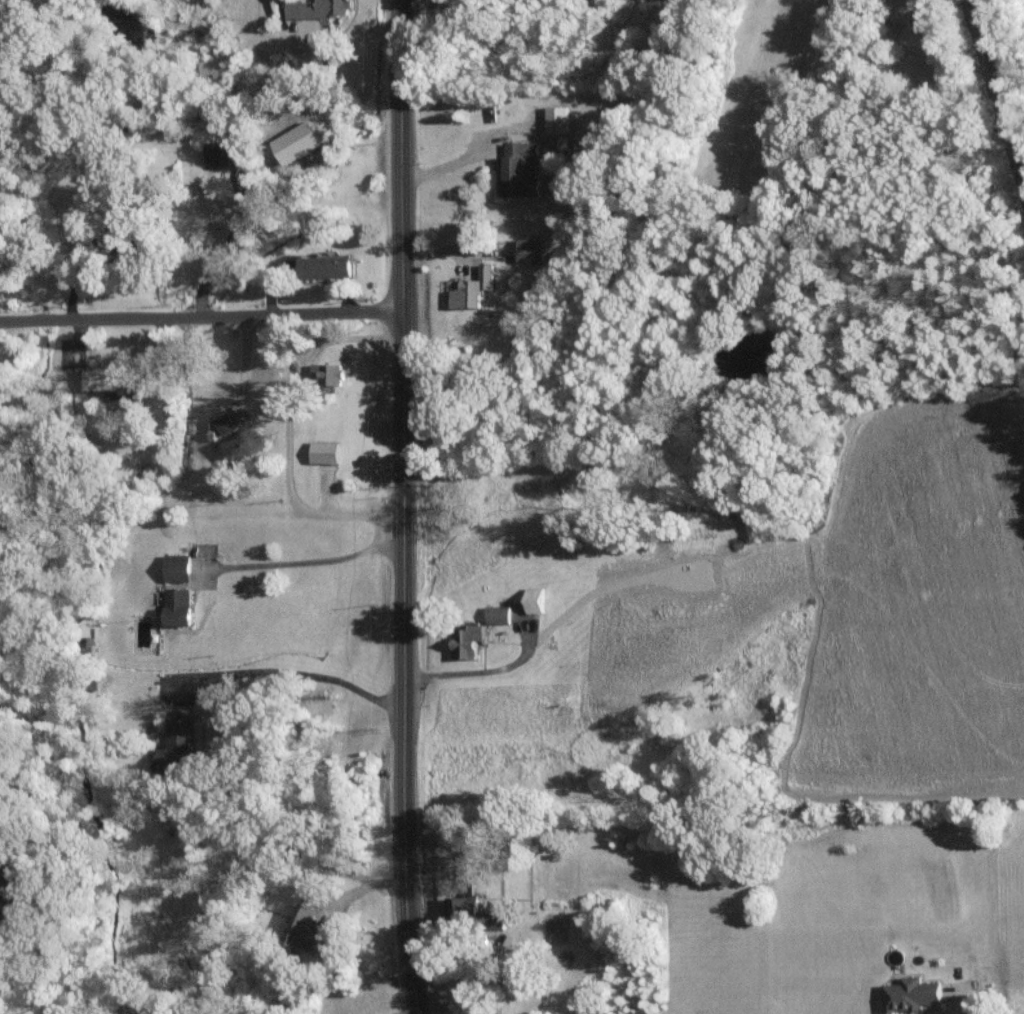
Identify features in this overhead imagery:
building: (317, 9)
railway: (998, 85)
building: (556, 120)
building: (562, 142)
building: (221, 153)
road: (457, 158)
building: (544, 167)
building: (518, 169)
building: (530, 250)
building: (323, 267)
building: (471, 289)
road: (202, 319)
building: (326, 374)
building: (100, 379)
building: (224, 424)
road: (285, 424)
building: (239, 446)
building: (323, 452)
road: (407, 507)
road: (313, 560)
building: (176, 568)
building: (533, 599)
building: (176, 606)
building: (497, 613)
building: (465, 639)
road: (481, 669)
building: (175, 746)
building: (304, 931)
building: (909, 994)
road: (974, 1007)

